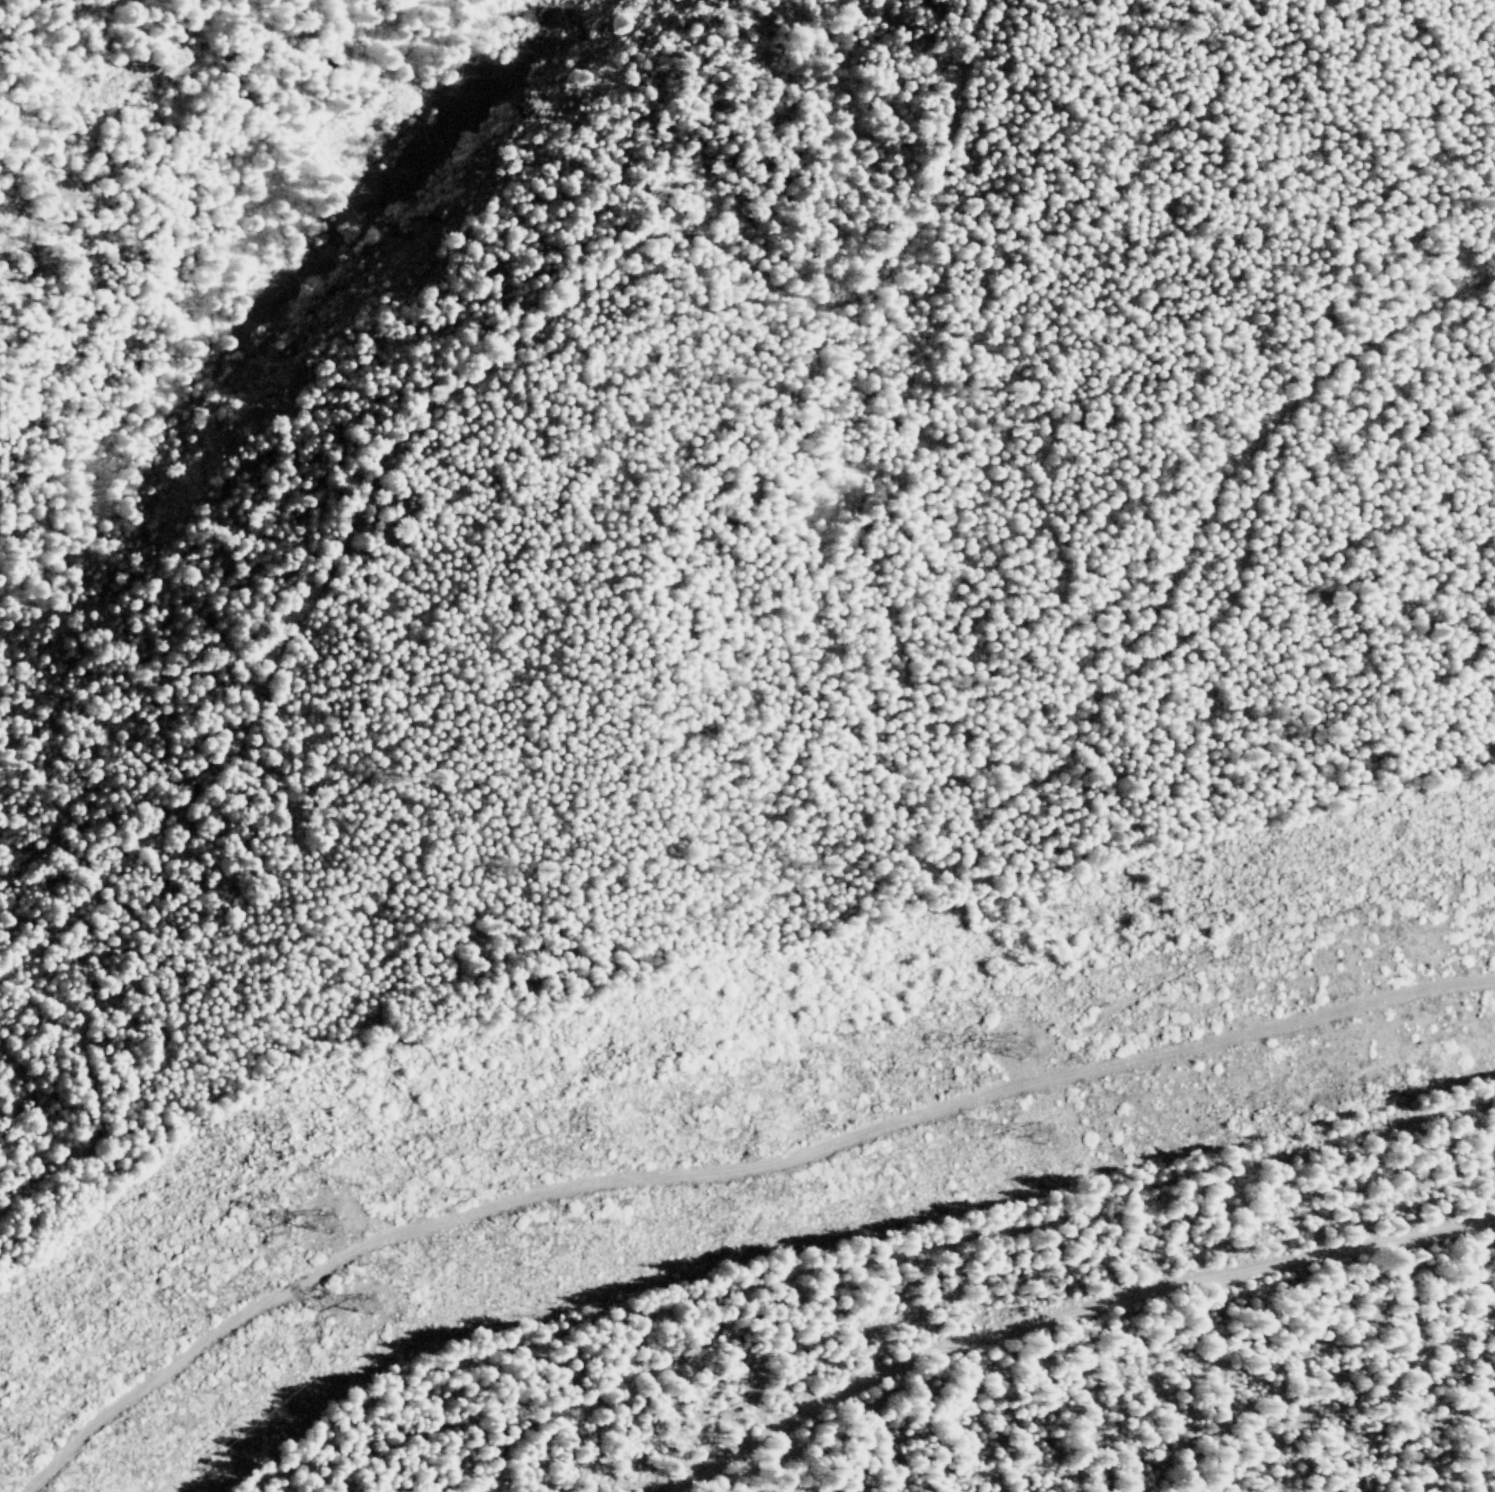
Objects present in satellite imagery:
power tower: (1096, 911)
power tower: (1024, 1043)
power tower: (288, 1118)
power tower: (1045, 1136)
power tower: (334, 1216)
power tower: (374, 1304)

